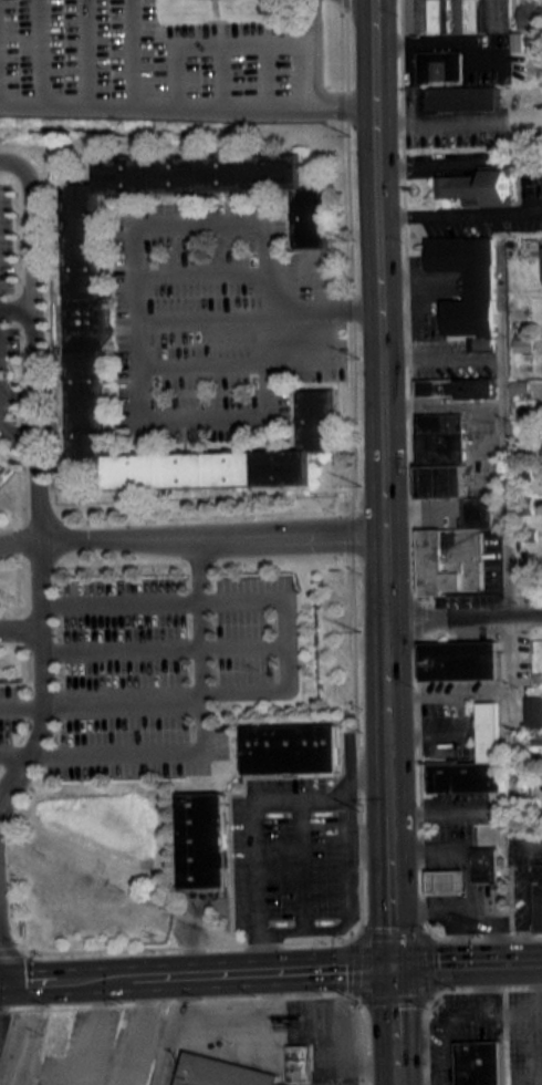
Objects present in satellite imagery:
building: (530, 13)
building: (456, 14)
road: (359, 15)
road: (243, 43)
road: (43, 50)
road: (86, 50)
road: (134, 50)
parking lot: (158, 63)
road: (222, 72)
road: (265, 72)
building: (450, 82)
road: (187, 101)
road: (21, 166)
building: (480, 182)
road: (136, 269)
road: (201, 273)
building: (468, 279)
road: (17, 308)
road: (202, 314)
building: (90, 321)
building: (480, 343)
building: (522, 349)
road: (466, 354)
building: (3, 372)
building: (520, 385)
building: (457, 386)
road: (442, 403)
road: (14, 430)
building: (3, 477)
road: (382, 483)
road: (38, 505)
building: (477, 509)
road: (507, 509)
road: (210, 536)
road: (19, 541)
road: (121, 600)
road: (462, 616)
road: (20, 631)
road: (285, 641)
road: (163, 642)
building: (461, 660)
road: (102, 700)
building: (532, 711)
road: (204, 728)
building: (486, 731)
building: (536, 737)
building: (296, 750)
road: (14, 754)
building: (467, 776)
road: (470, 809)
road: (256, 828)
building: (206, 840)
road: (535, 841)
road: (367, 844)
parking lot: (294, 851)
building: (486, 862)
road: (301, 865)
building: (446, 880)
gas station: (447, 881)
road: (347, 889)
building: (538, 895)
road: (529, 902)
road: (466, 964)
traffic signals: (392, 967)
road: (196, 974)
road: (539, 1016)
road: (225, 1019)
road: (393, 1025)
road: (134, 1030)
road: (87, 1032)
road: (149, 1047)
road: (166, 1051)
building: (299, 1063)
building: (480, 1063)
building: (223, 1072)

